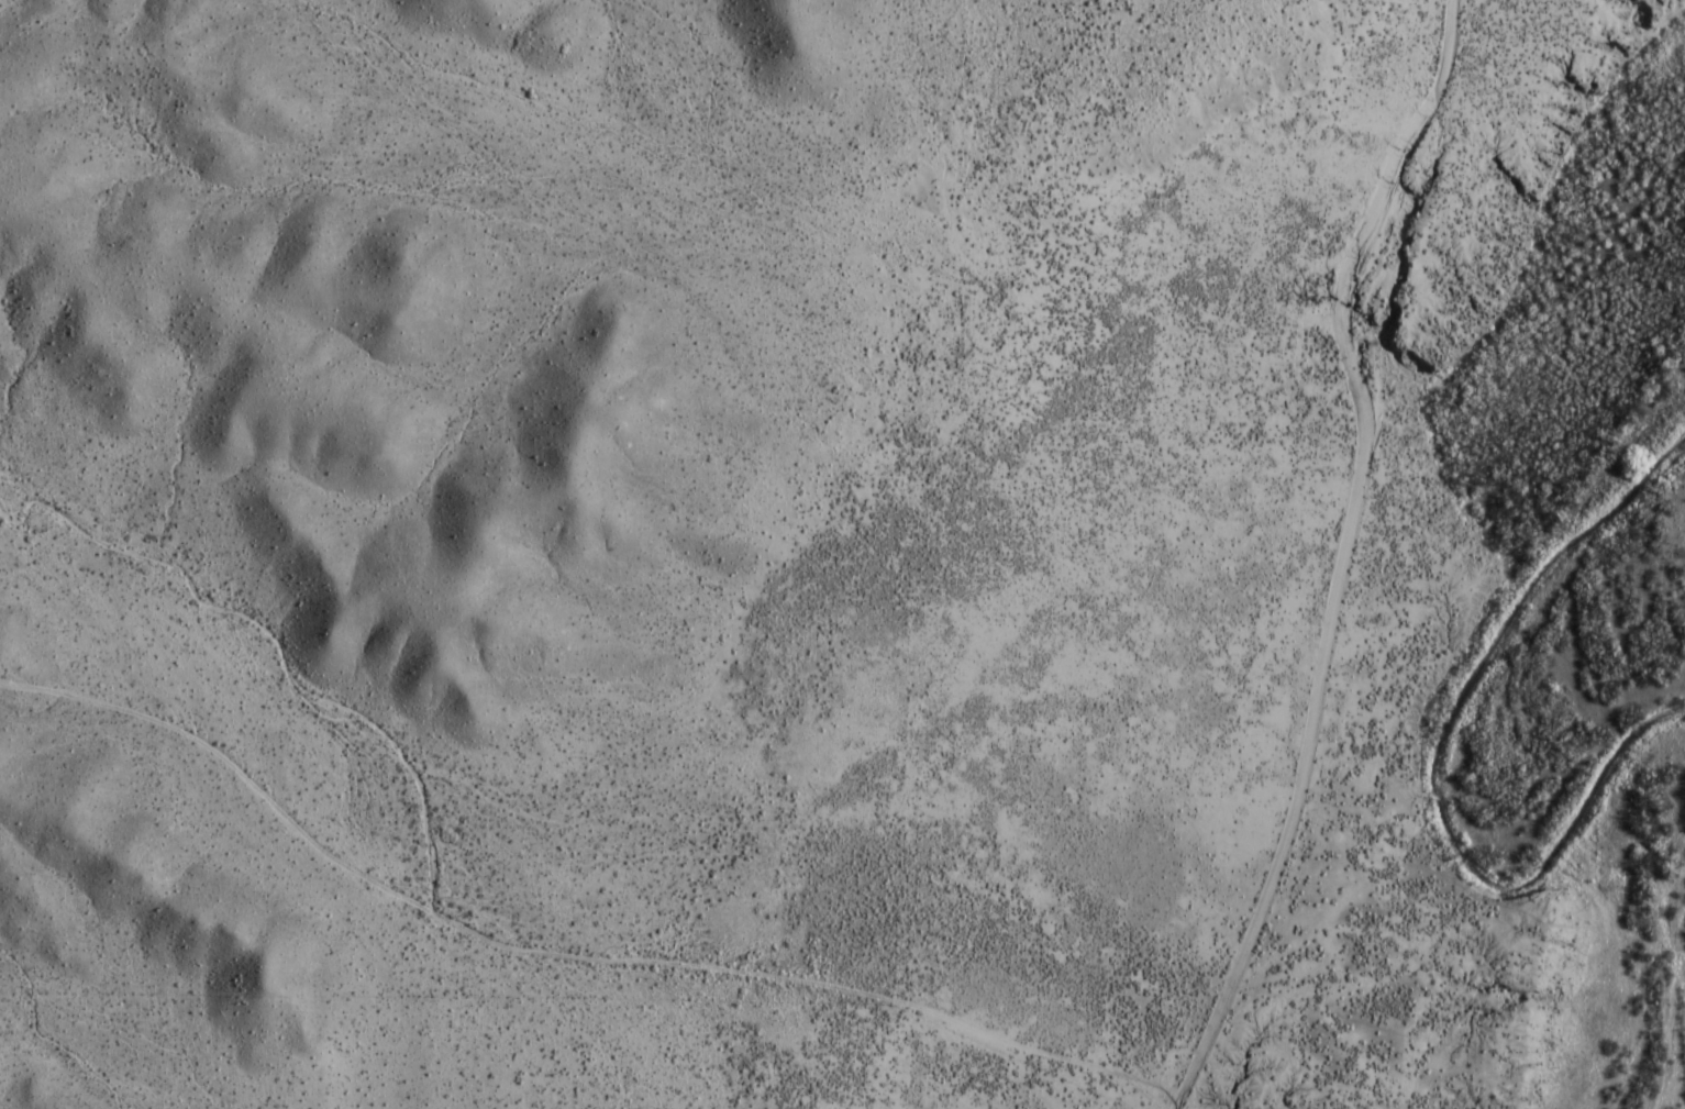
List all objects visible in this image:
road: (1341, 553)
river: (1499, 748)
road: (561, 956)

